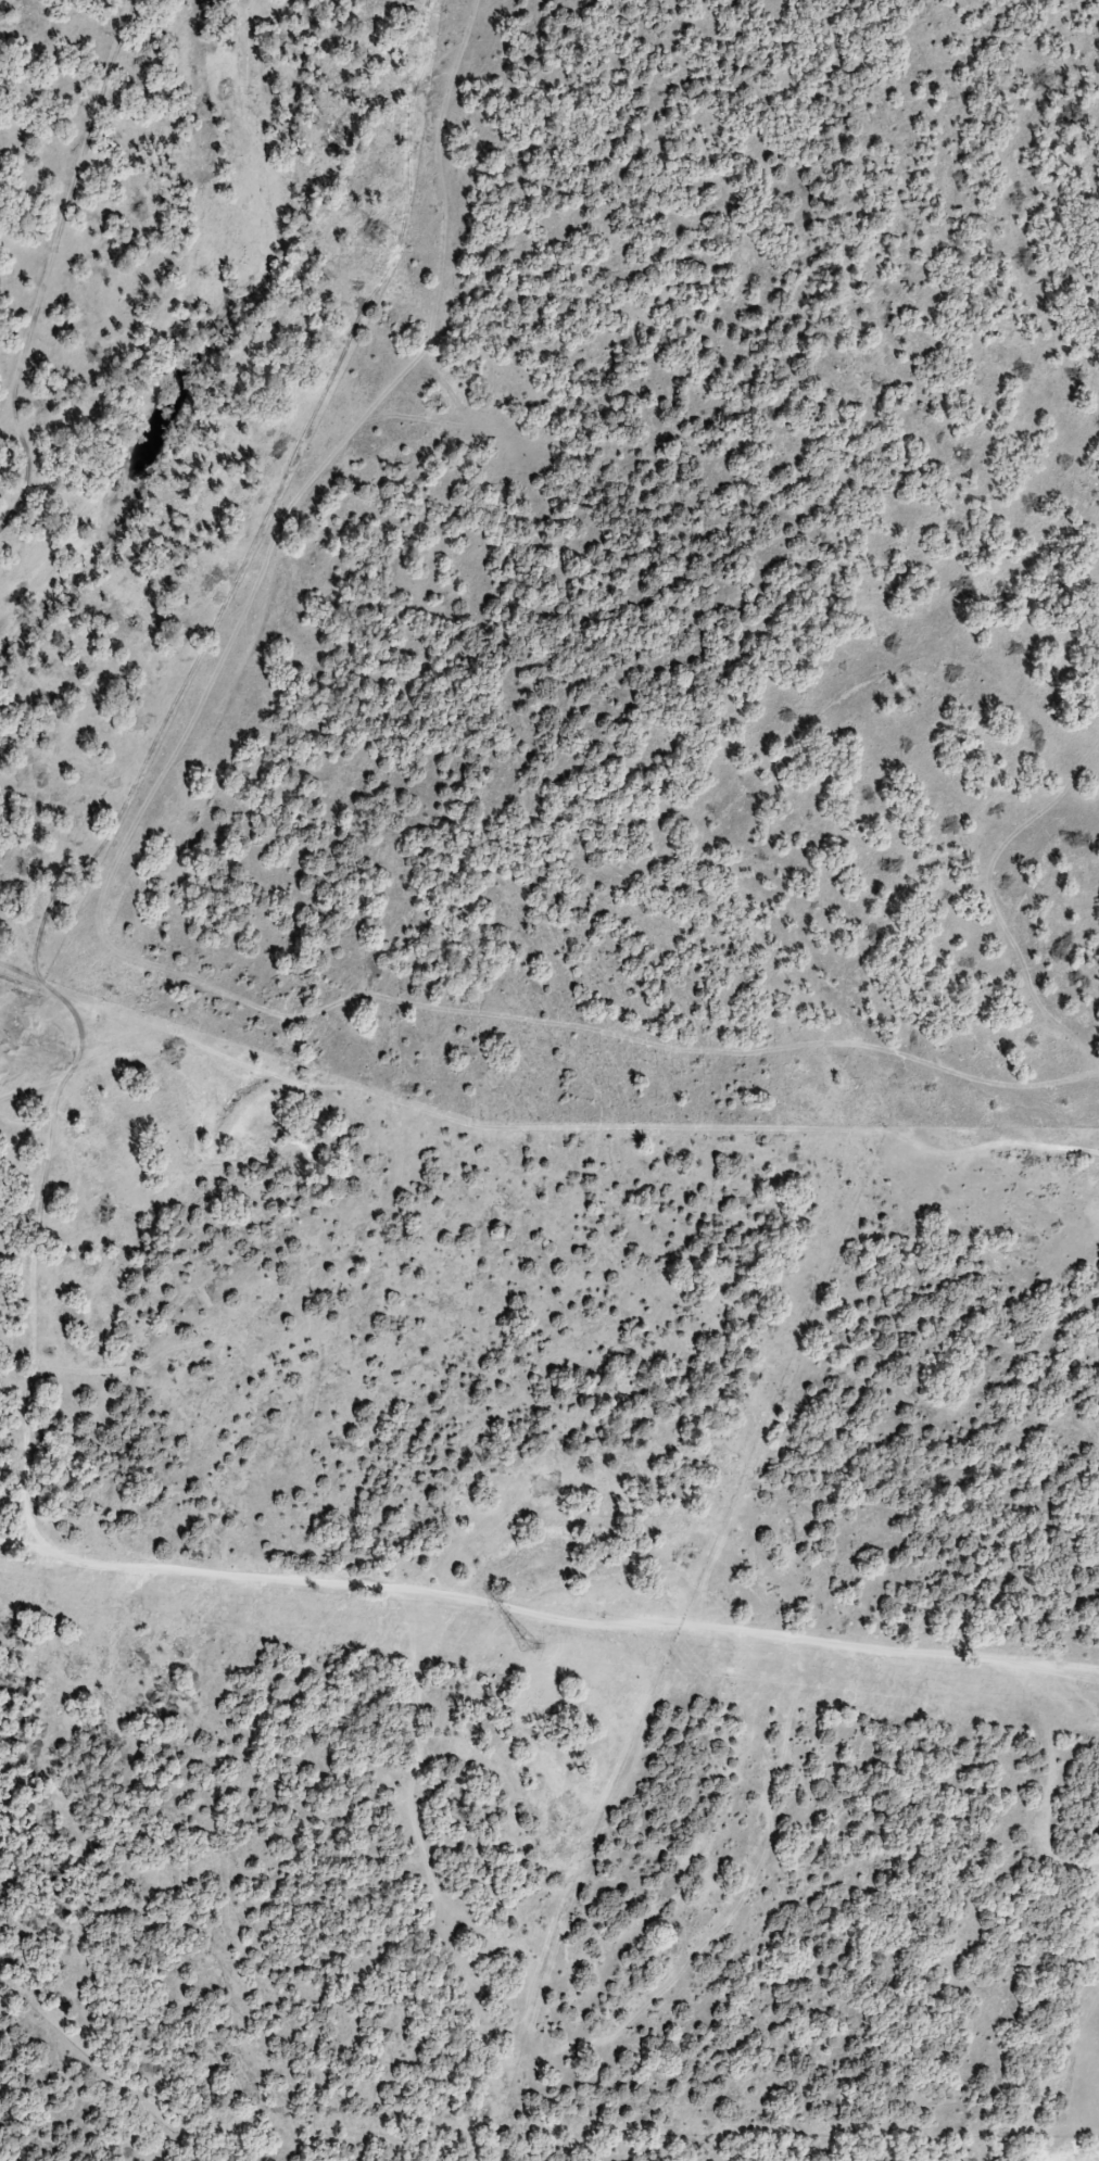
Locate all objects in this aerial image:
power tower: (525, 1650)

